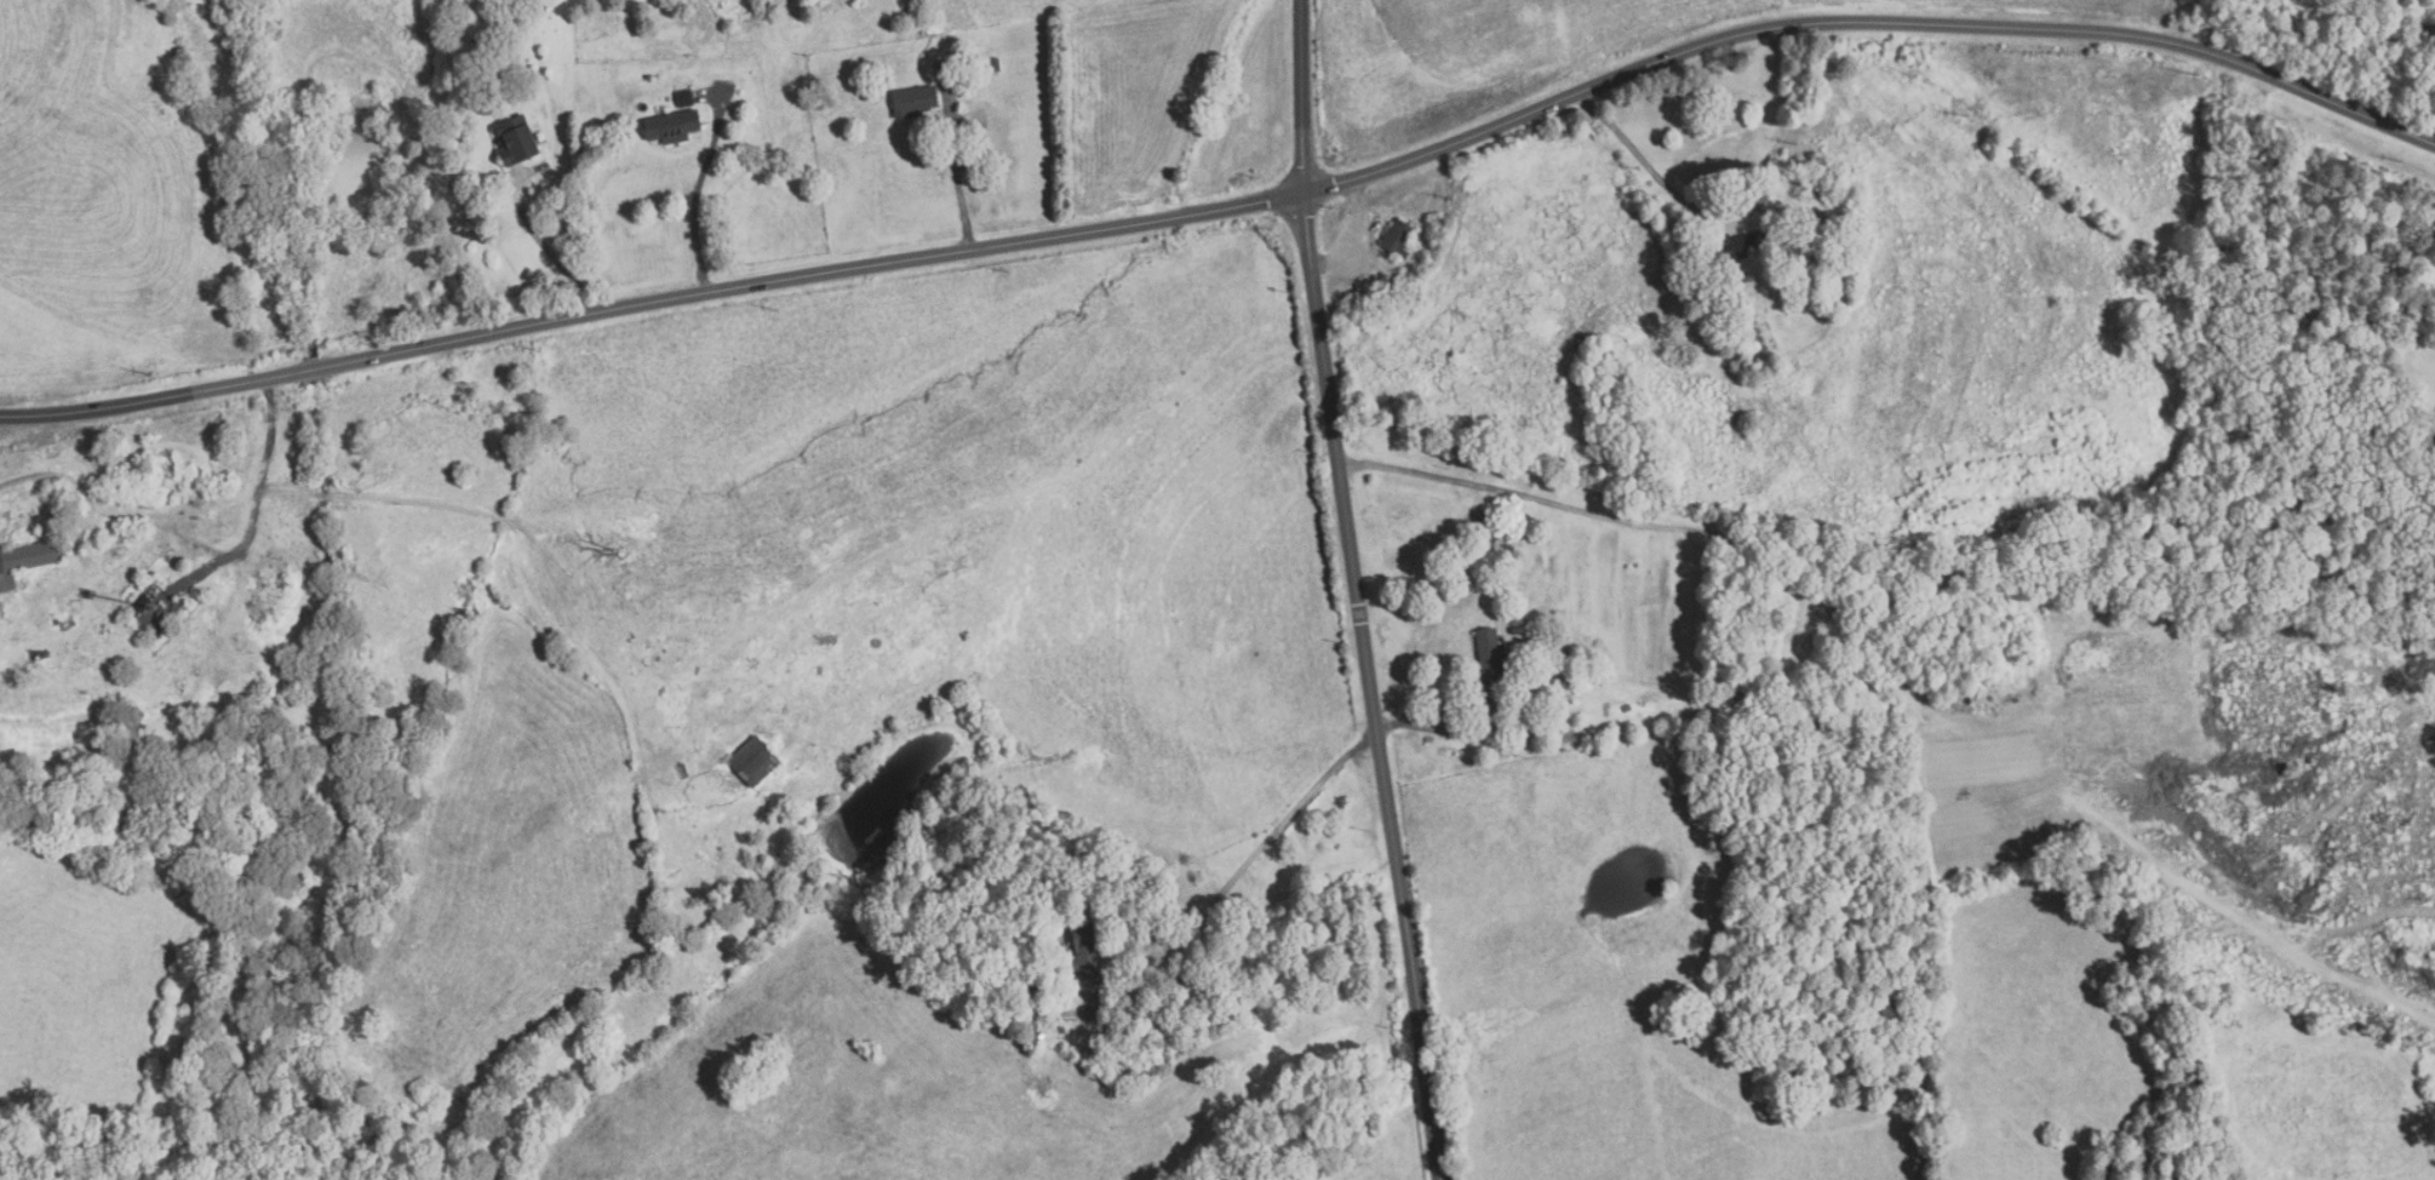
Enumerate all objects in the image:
road: (1667, 25)
road: (2011, 29)
building: (512, 61)
road: (1320, 61)
road: (1306, 62)
building: (996, 63)
building: (945, 70)
power tower: (2196, 75)
building: (687, 97)
building: (913, 101)
road: (1469, 111)
road: (1334, 115)
power tower: (1965, 116)
road: (1469, 125)
building: (676, 126)
building: (521, 141)
power tower: (1794, 144)
road: (1639, 154)
power tower: (2399, 161)
river: (366, 170)
power tower: (1638, 170)
road: (958, 188)
road: (1203, 195)
power tower: (1451, 200)
road: (1204, 205)
road: (693, 208)
power tower: (1271, 229)
building: (1398, 240)
building: (1734, 245)
road: (544, 246)
road: (1351, 246)
road: (1335, 247)
power tower: (1010, 273)
building: (1834, 281)
power tower: (779, 311)
road: (555, 320)
power tower: (542, 350)
power tower: (153, 376)
road: (2434, 417)
building: (2433, 457)
road: (267, 462)
road: (21, 479)
road: (1532, 498)
road: (137, 519)
building: (1486, 526)
building: (29, 561)
building: (1873, 588)
building: (1514, 619)
building: (1517, 630)
building: (1807, 630)
building: (1488, 653)
building: (1597, 677)
road: (1485, 708)
building: (1625, 708)
road: (1379, 739)
building: (757, 761)
road: (1241, 869)
building: (1084, 953)
building: (1032, 1002)
building: (1039, 1032)
building: (1027, 1038)

